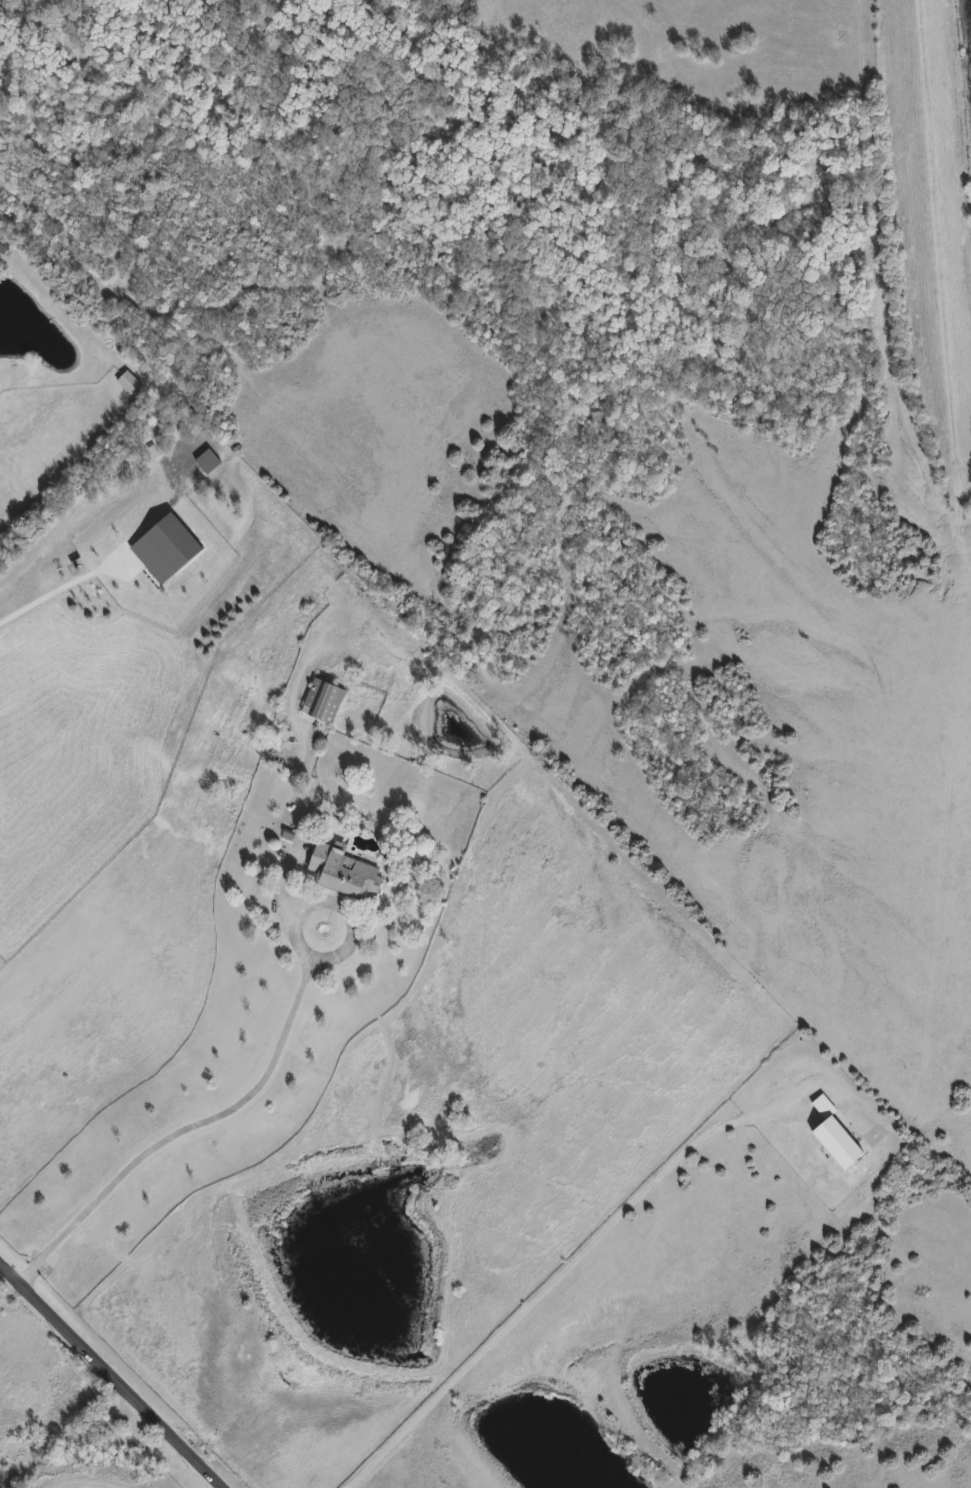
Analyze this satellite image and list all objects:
road: (0, 378)
road: (63, 587)
building: (324, 702)
building: (346, 873)
road: (198, 1124)
road: (554, 1281)
road: (110, 1376)

